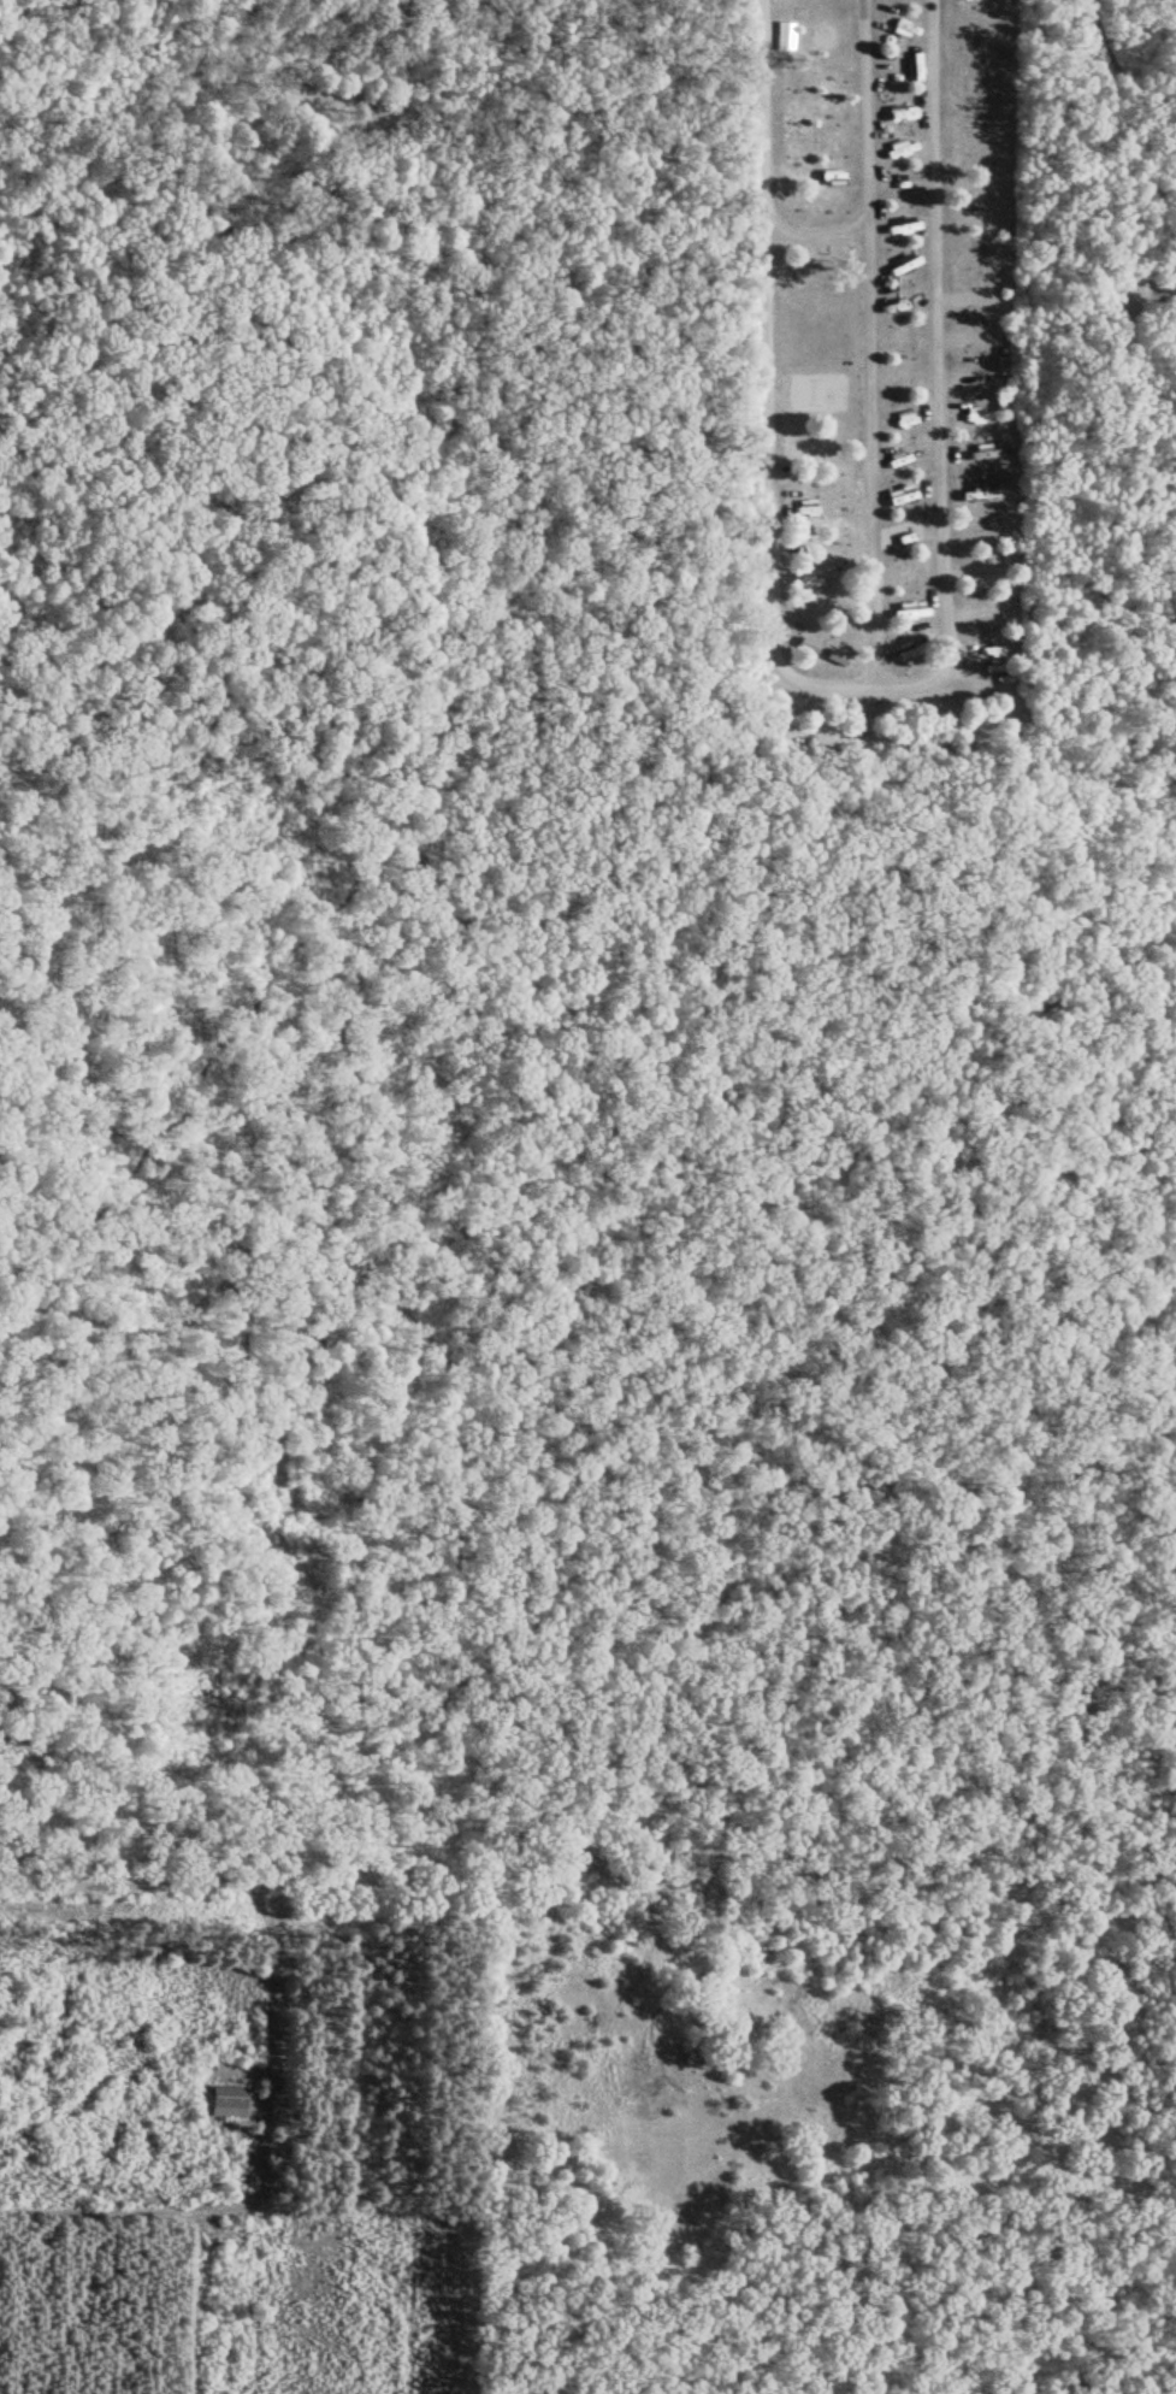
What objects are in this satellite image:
road: (1153, 125)
road: (816, 229)
building: (1174, 259)
road: (870, 455)
road: (946, 642)
road: (959, 680)
road: (593, 1888)
building: (227, 2098)

